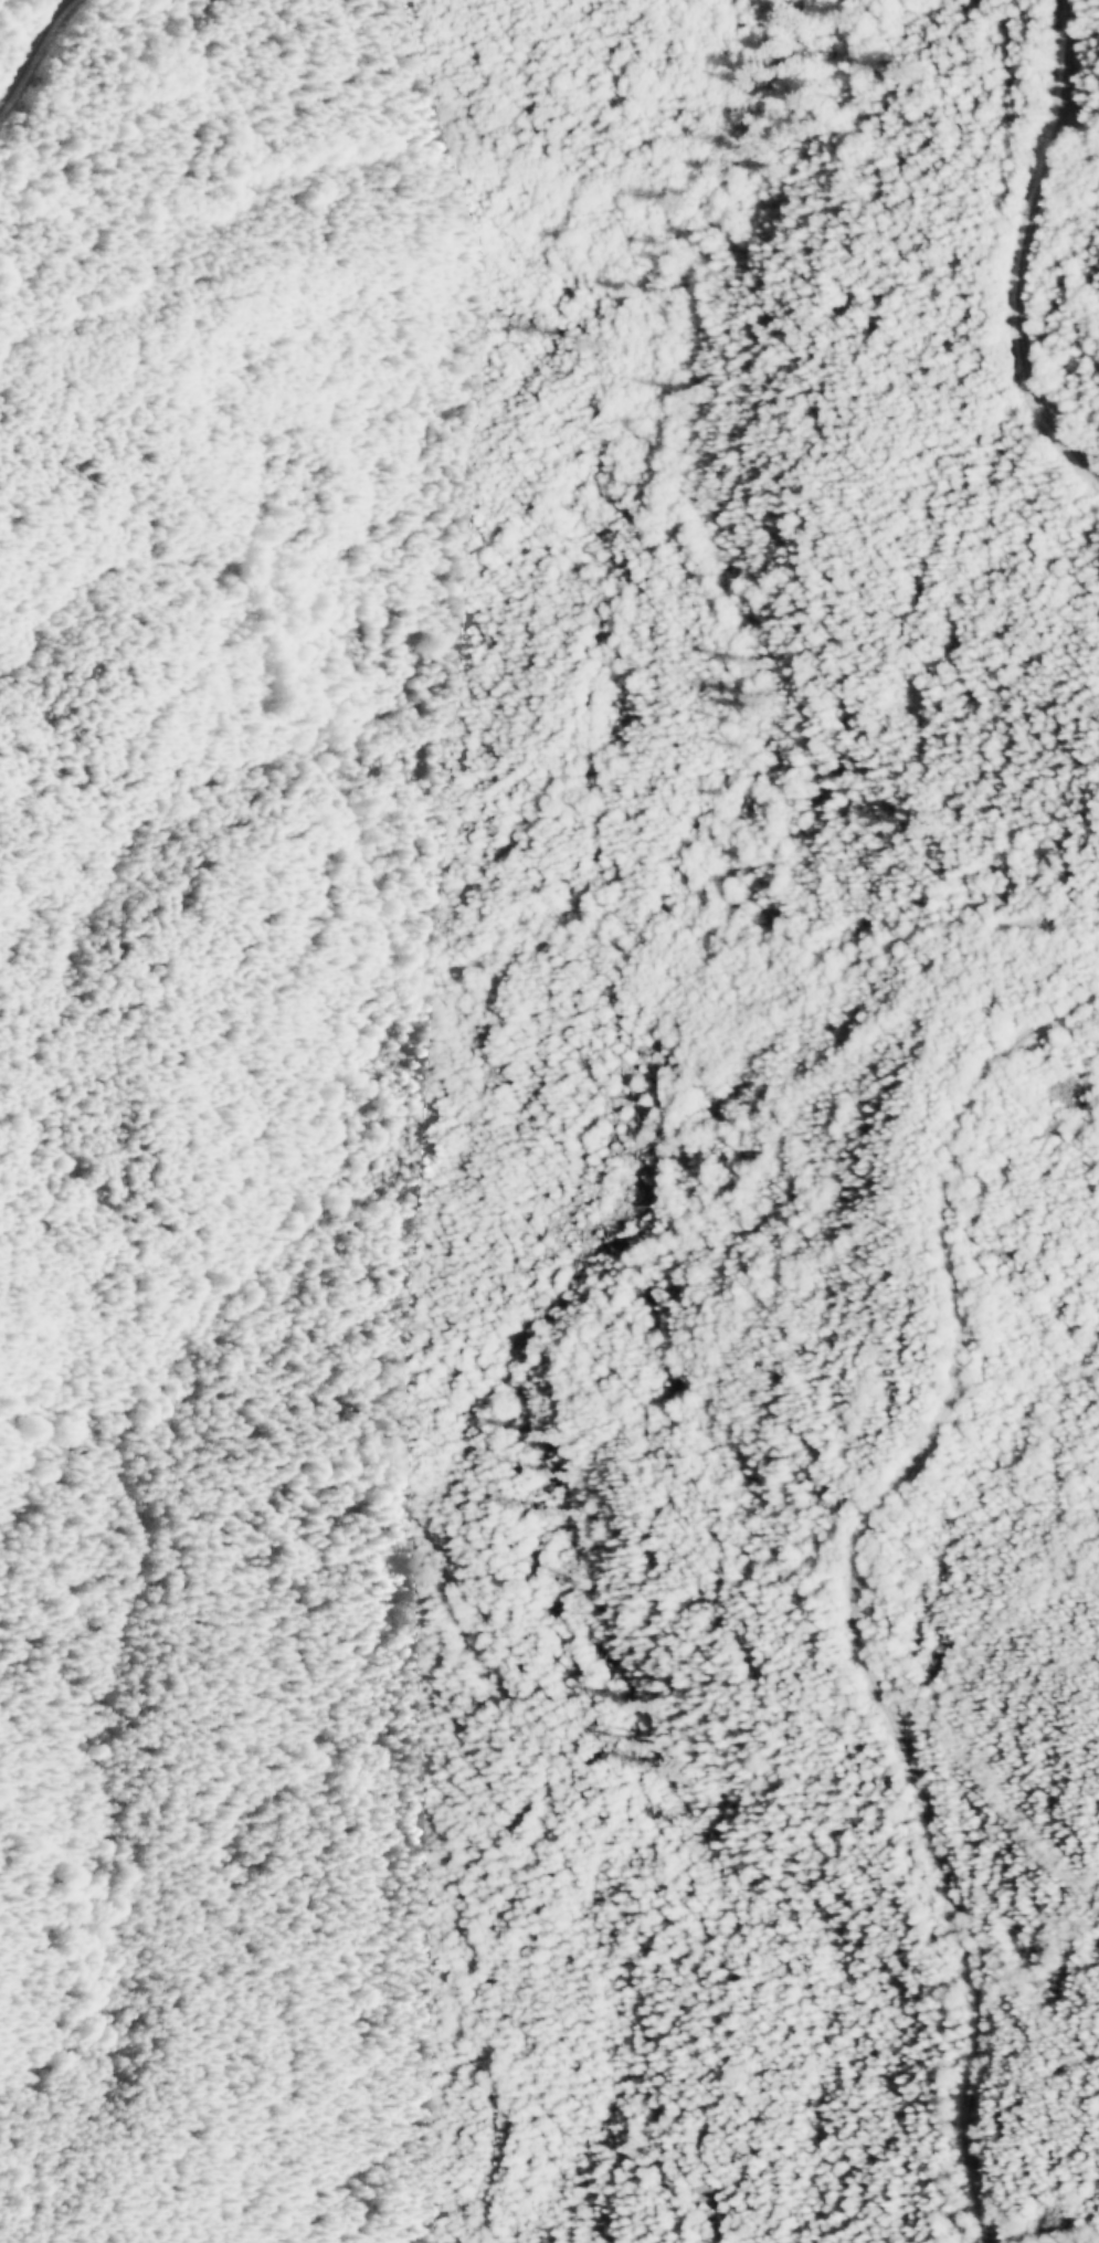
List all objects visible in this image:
road: (82, 53)

